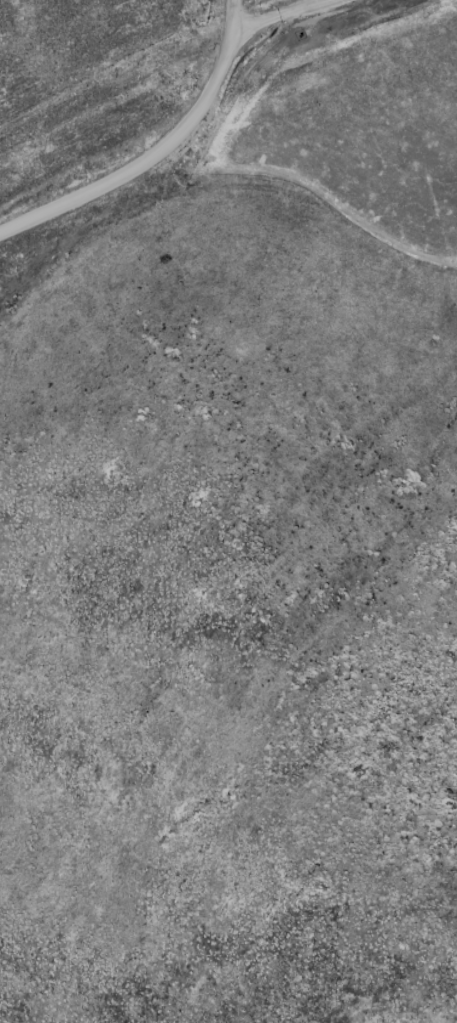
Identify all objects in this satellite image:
road: (241, 13)
road: (183, 130)

